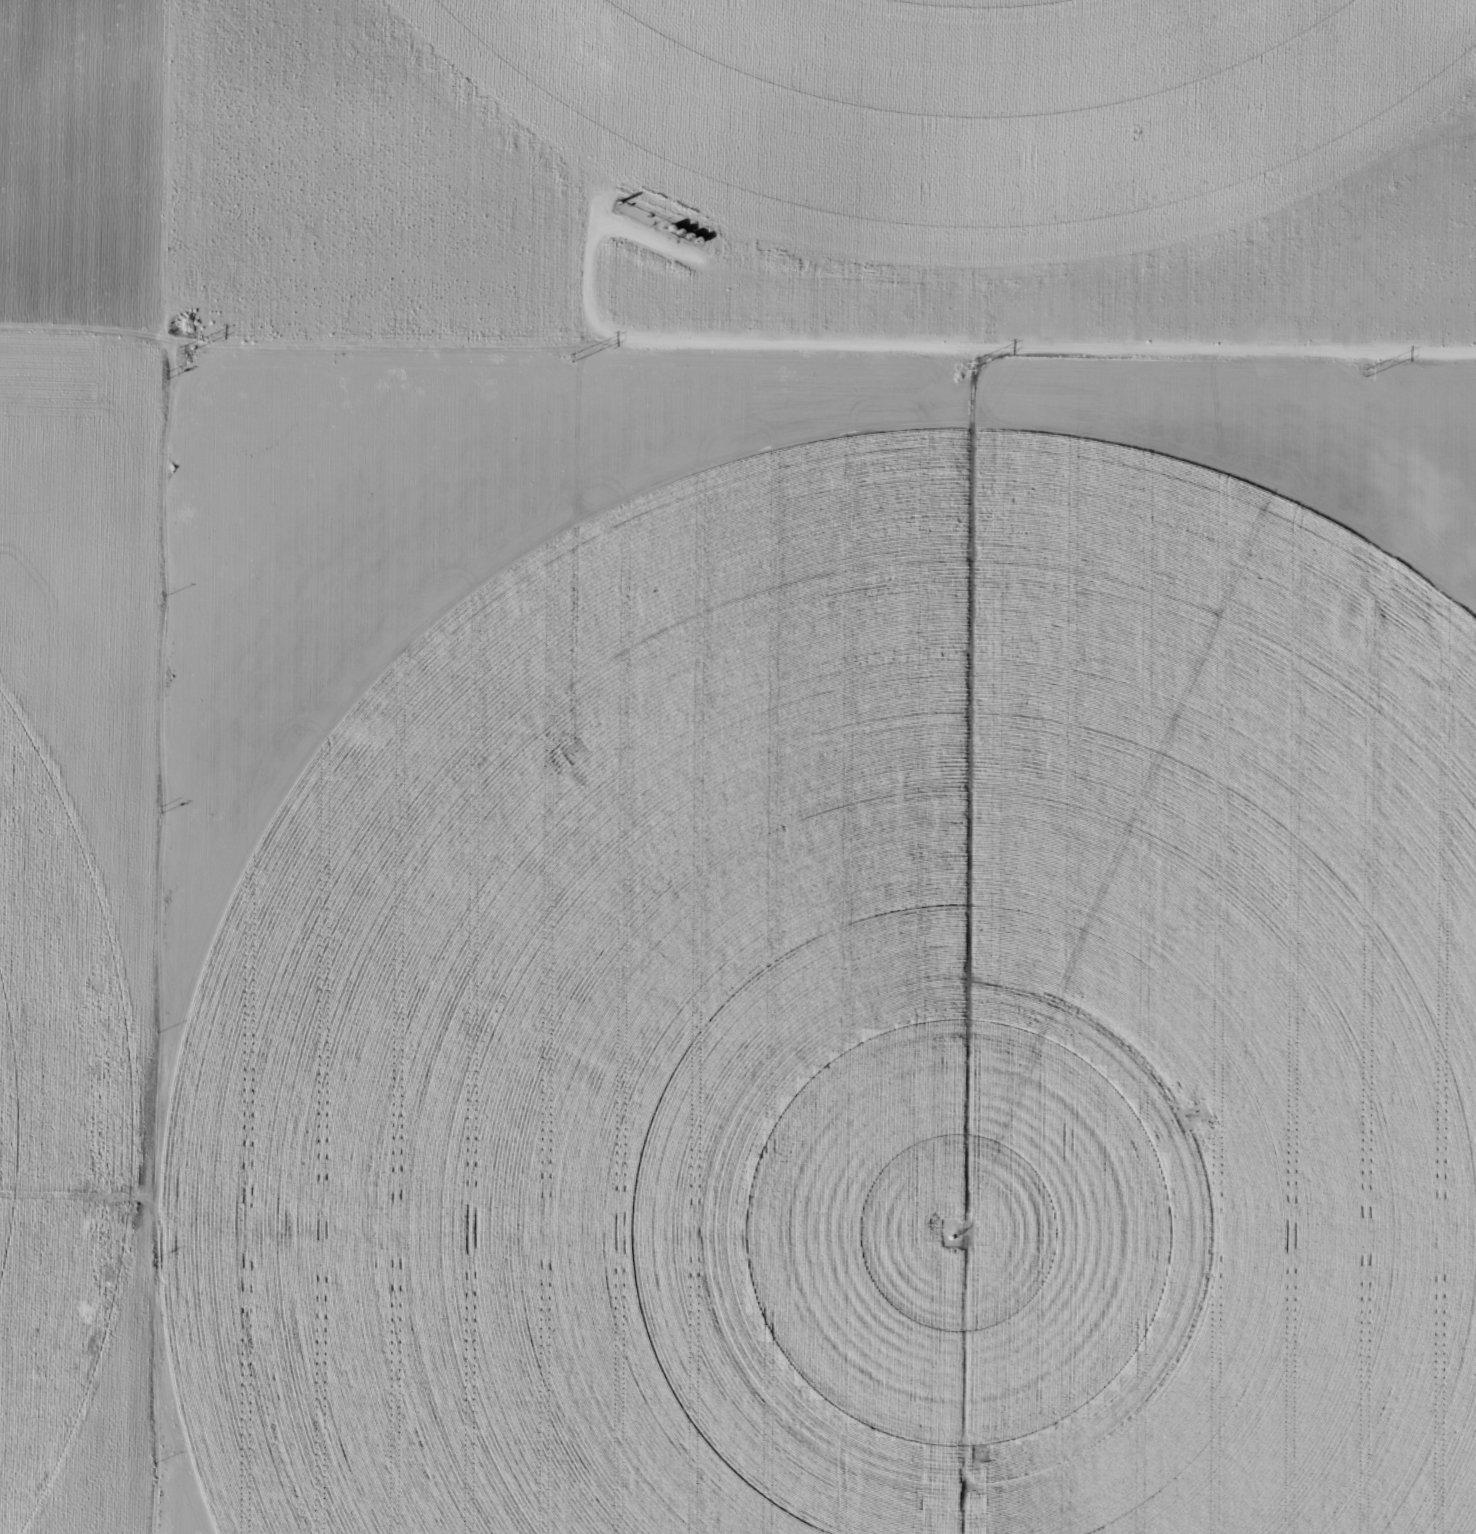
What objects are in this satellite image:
road: (737, 358)
road: (159, 767)

